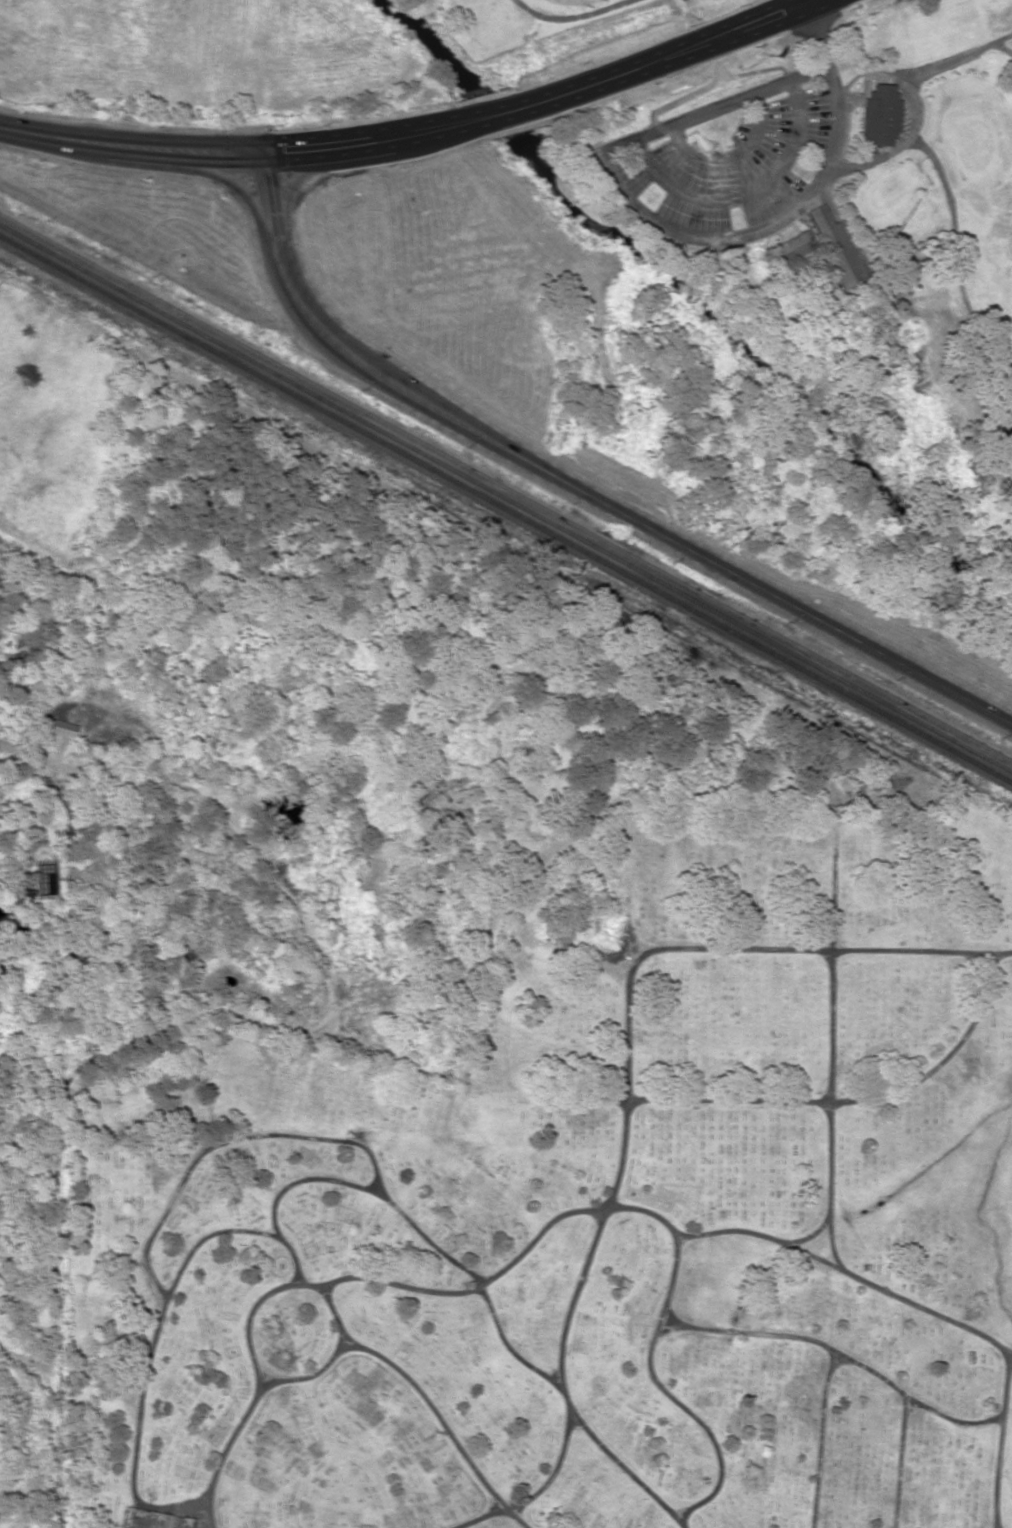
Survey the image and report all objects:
building: (880, 115)
road: (482, 116)
road: (66, 139)
traffic signals: (260, 152)
parking lot: (731, 166)
road: (294, 179)
road: (227, 182)
park: (814, 197)
road: (627, 203)
road: (269, 209)
building: (793, 248)
building: (836, 248)
railway: (505, 497)
railway: (506, 508)
road: (628, 515)
road: (92, 596)
building: (60, 727)
road: (695, 948)
road: (830, 1036)
road: (852, 1099)
road: (222, 1142)
road: (304, 1180)
park: (586, 1207)
road: (814, 1233)
road: (539, 1234)
road: (850, 1275)
road: (477, 1282)
road: (155, 1338)
road: (838, 1354)
road: (317, 1374)
road: (563, 1387)
road: (698, 1422)
road: (445, 1424)
road: (819, 1438)
road: (1000, 1442)
road: (223, 1455)
road: (899, 1463)
road: (479, 1519)

